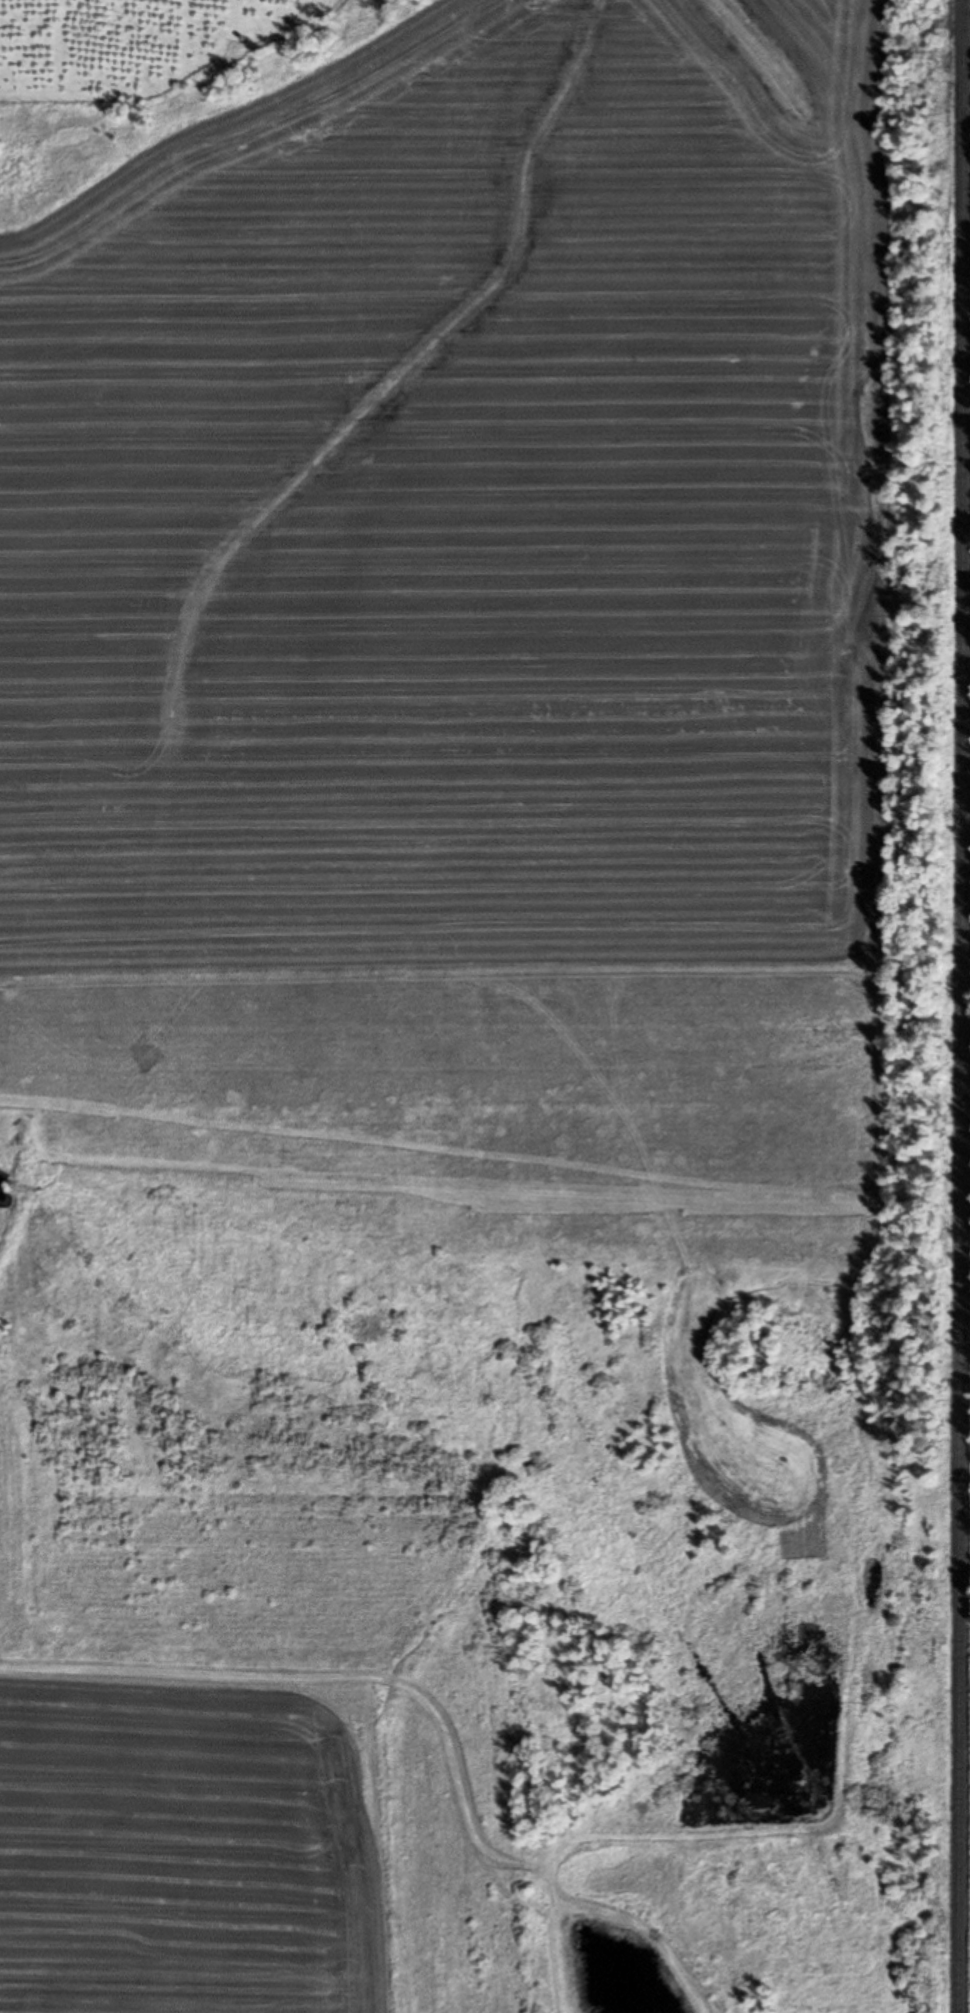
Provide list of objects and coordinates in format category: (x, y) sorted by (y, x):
railway: (963, 1006)

